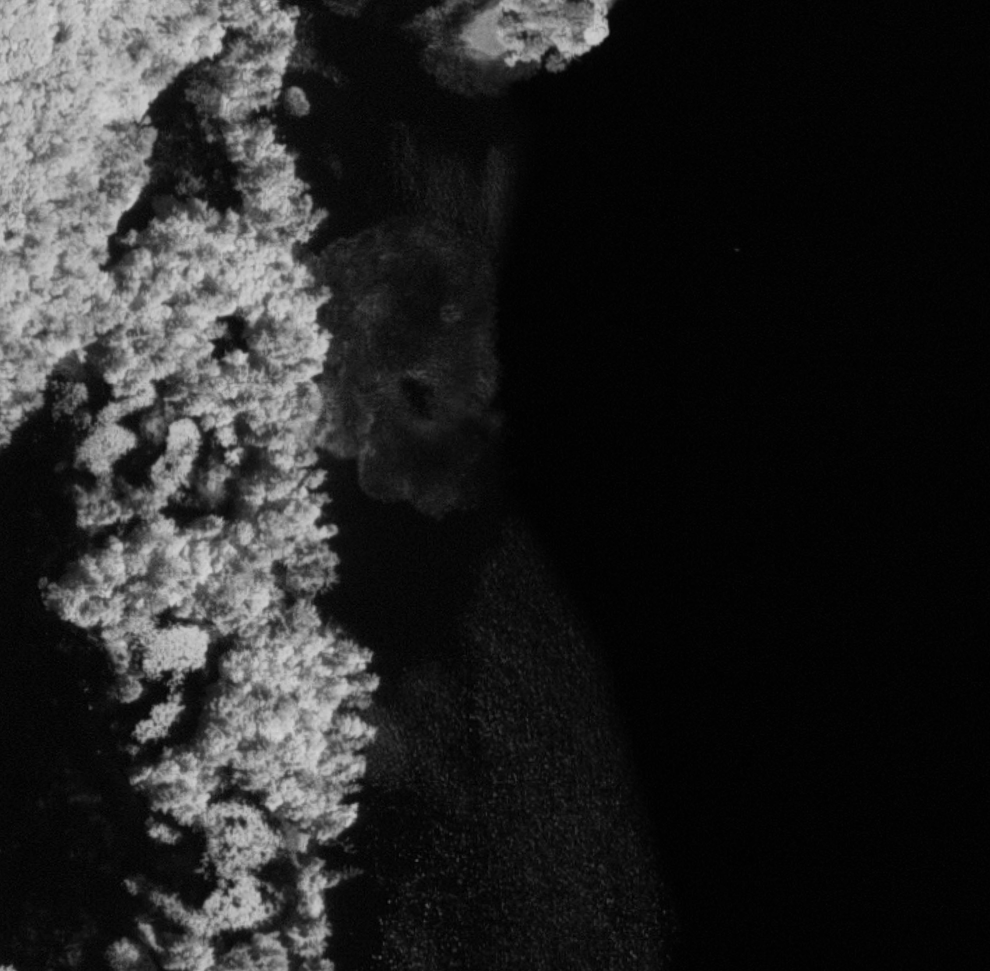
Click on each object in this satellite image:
park: (531, 31)
road: (144, 384)
park: (164, 495)
road: (283, 504)

